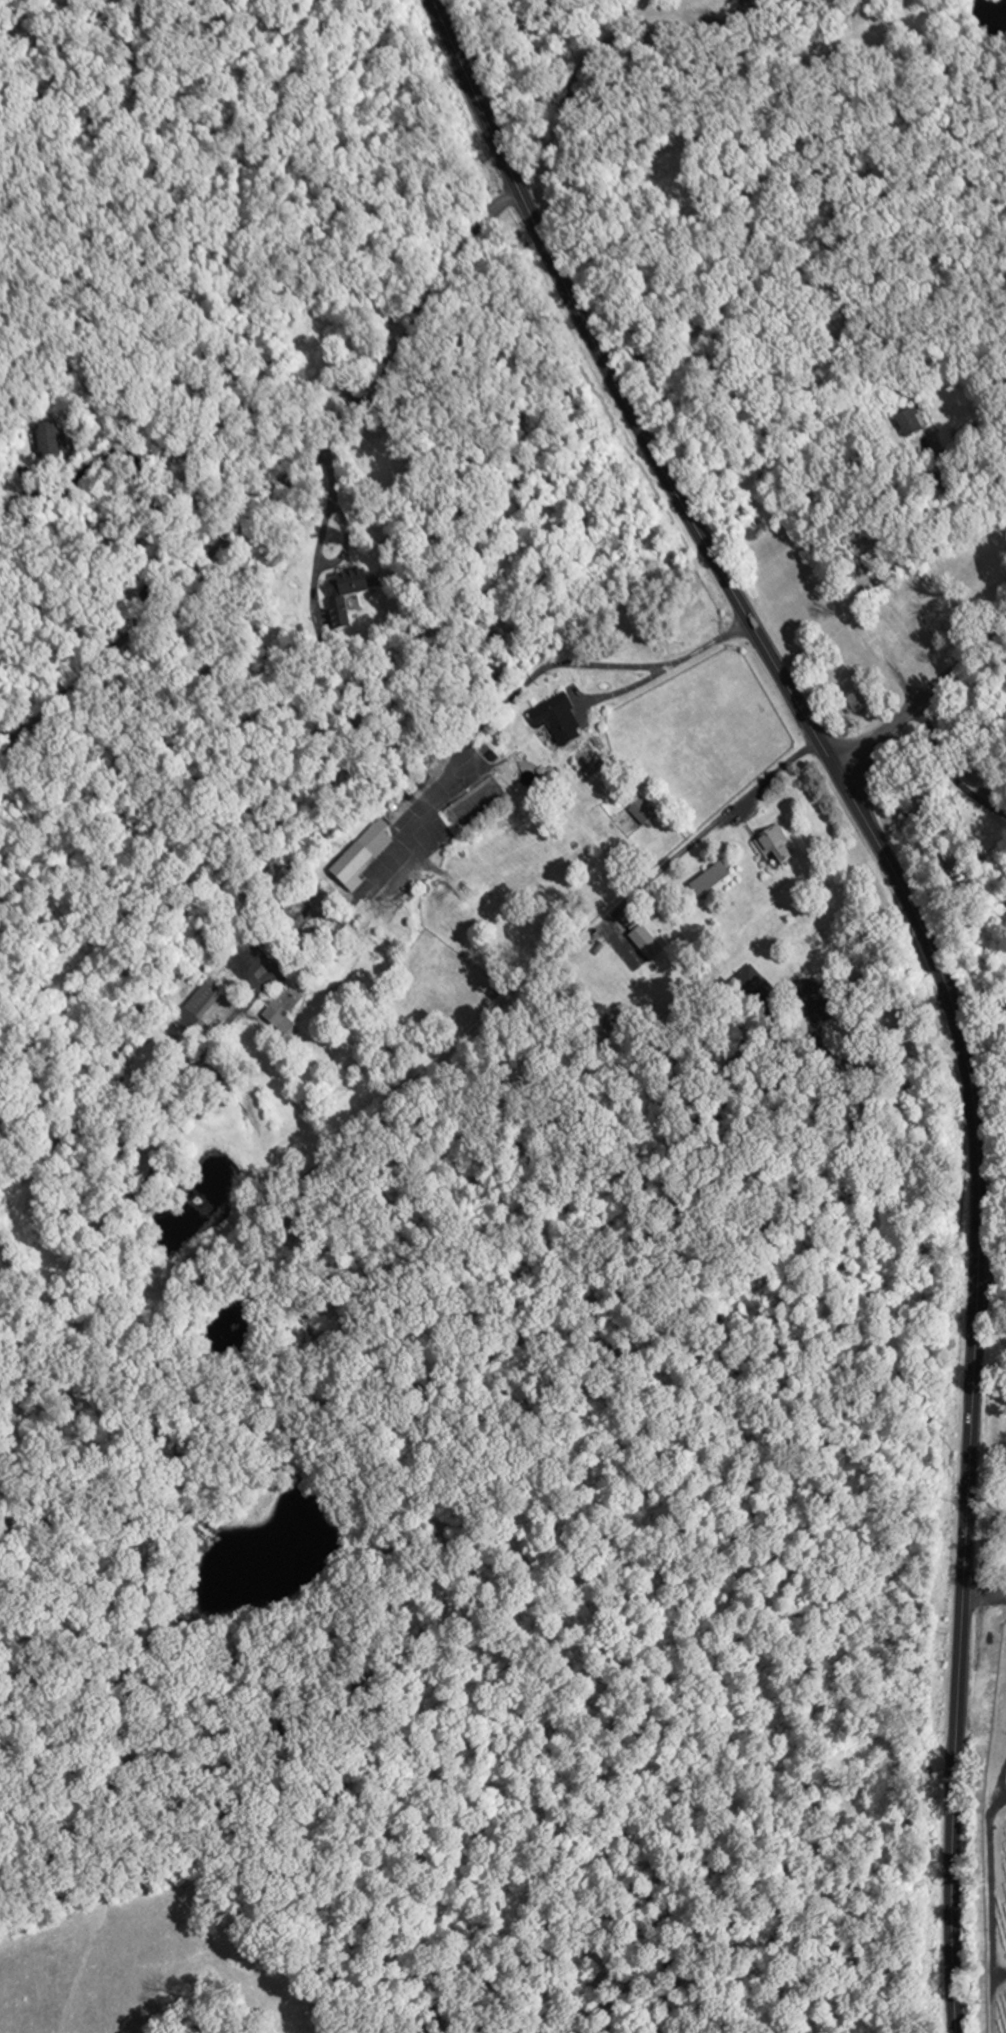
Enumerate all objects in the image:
road: (507, 36)
road: (581, 61)
road: (138, 466)
road: (278, 487)
building: (365, 583)
building: (937, 624)
building: (889, 650)
road: (921, 699)
building: (864, 701)
building: (566, 721)
road: (946, 772)
road: (440, 785)
building: (651, 812)
road: (714, 826)
building: (785, 847)
building: (366, 858)
building: (718, 881)
road: (936, 956)
building: (205, 1009)
road: (893, 1061)
road: (990, 1279)

